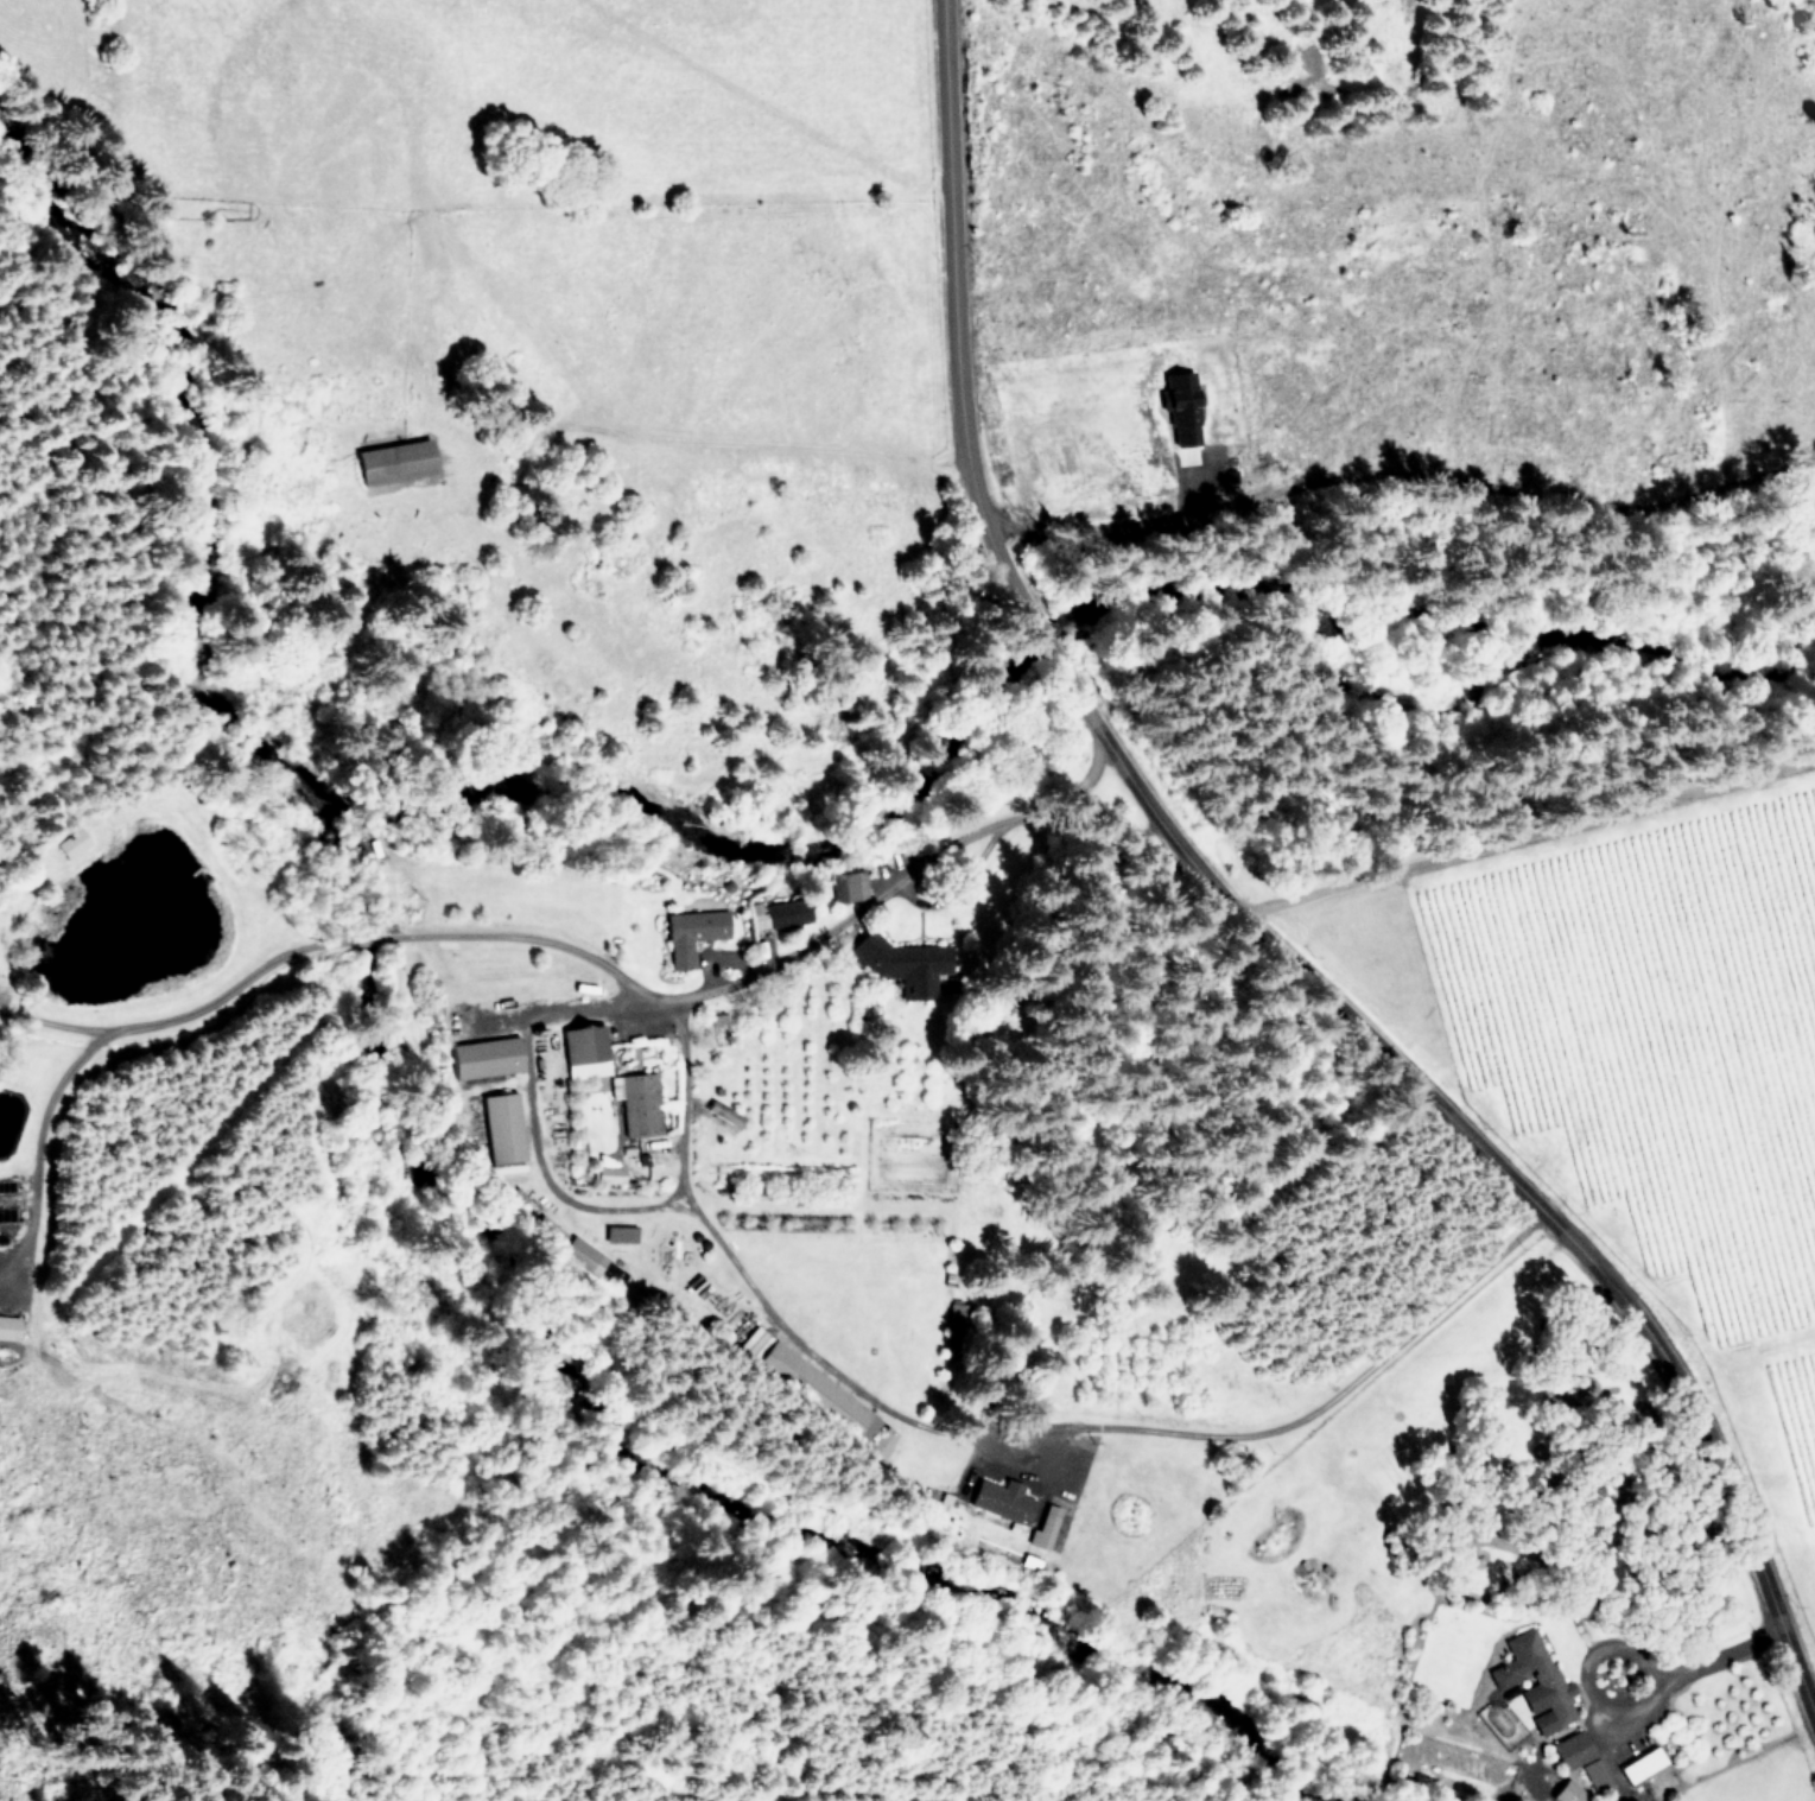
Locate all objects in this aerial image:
building: (1182, 407)
building: (394, 459)
road: (1119, 535)
road: (1528, 839)
building: (853, 884)
building: (782, 913)
road: (1244, 918)
building: (691, 932)
road: (590, 958)
building: (907, 964)
building: (584, 1049)
building: (486, 1057)
building: (639, 1103)
crop: (1603, 1117)
road: (532, 1120)
building: (502, 1127)
road: (34, 1139)
building: (609, 1174)
building: (620, 1234)
building: (583, 1255)
building: (8, 1326)
road: (998, 1440)
building: (1002, 1499)
building: (1536, 1681)
road: (1619, 1707)
building: (1573, 1749)
building: (1595, 1774)
building: (1568, 1792)

